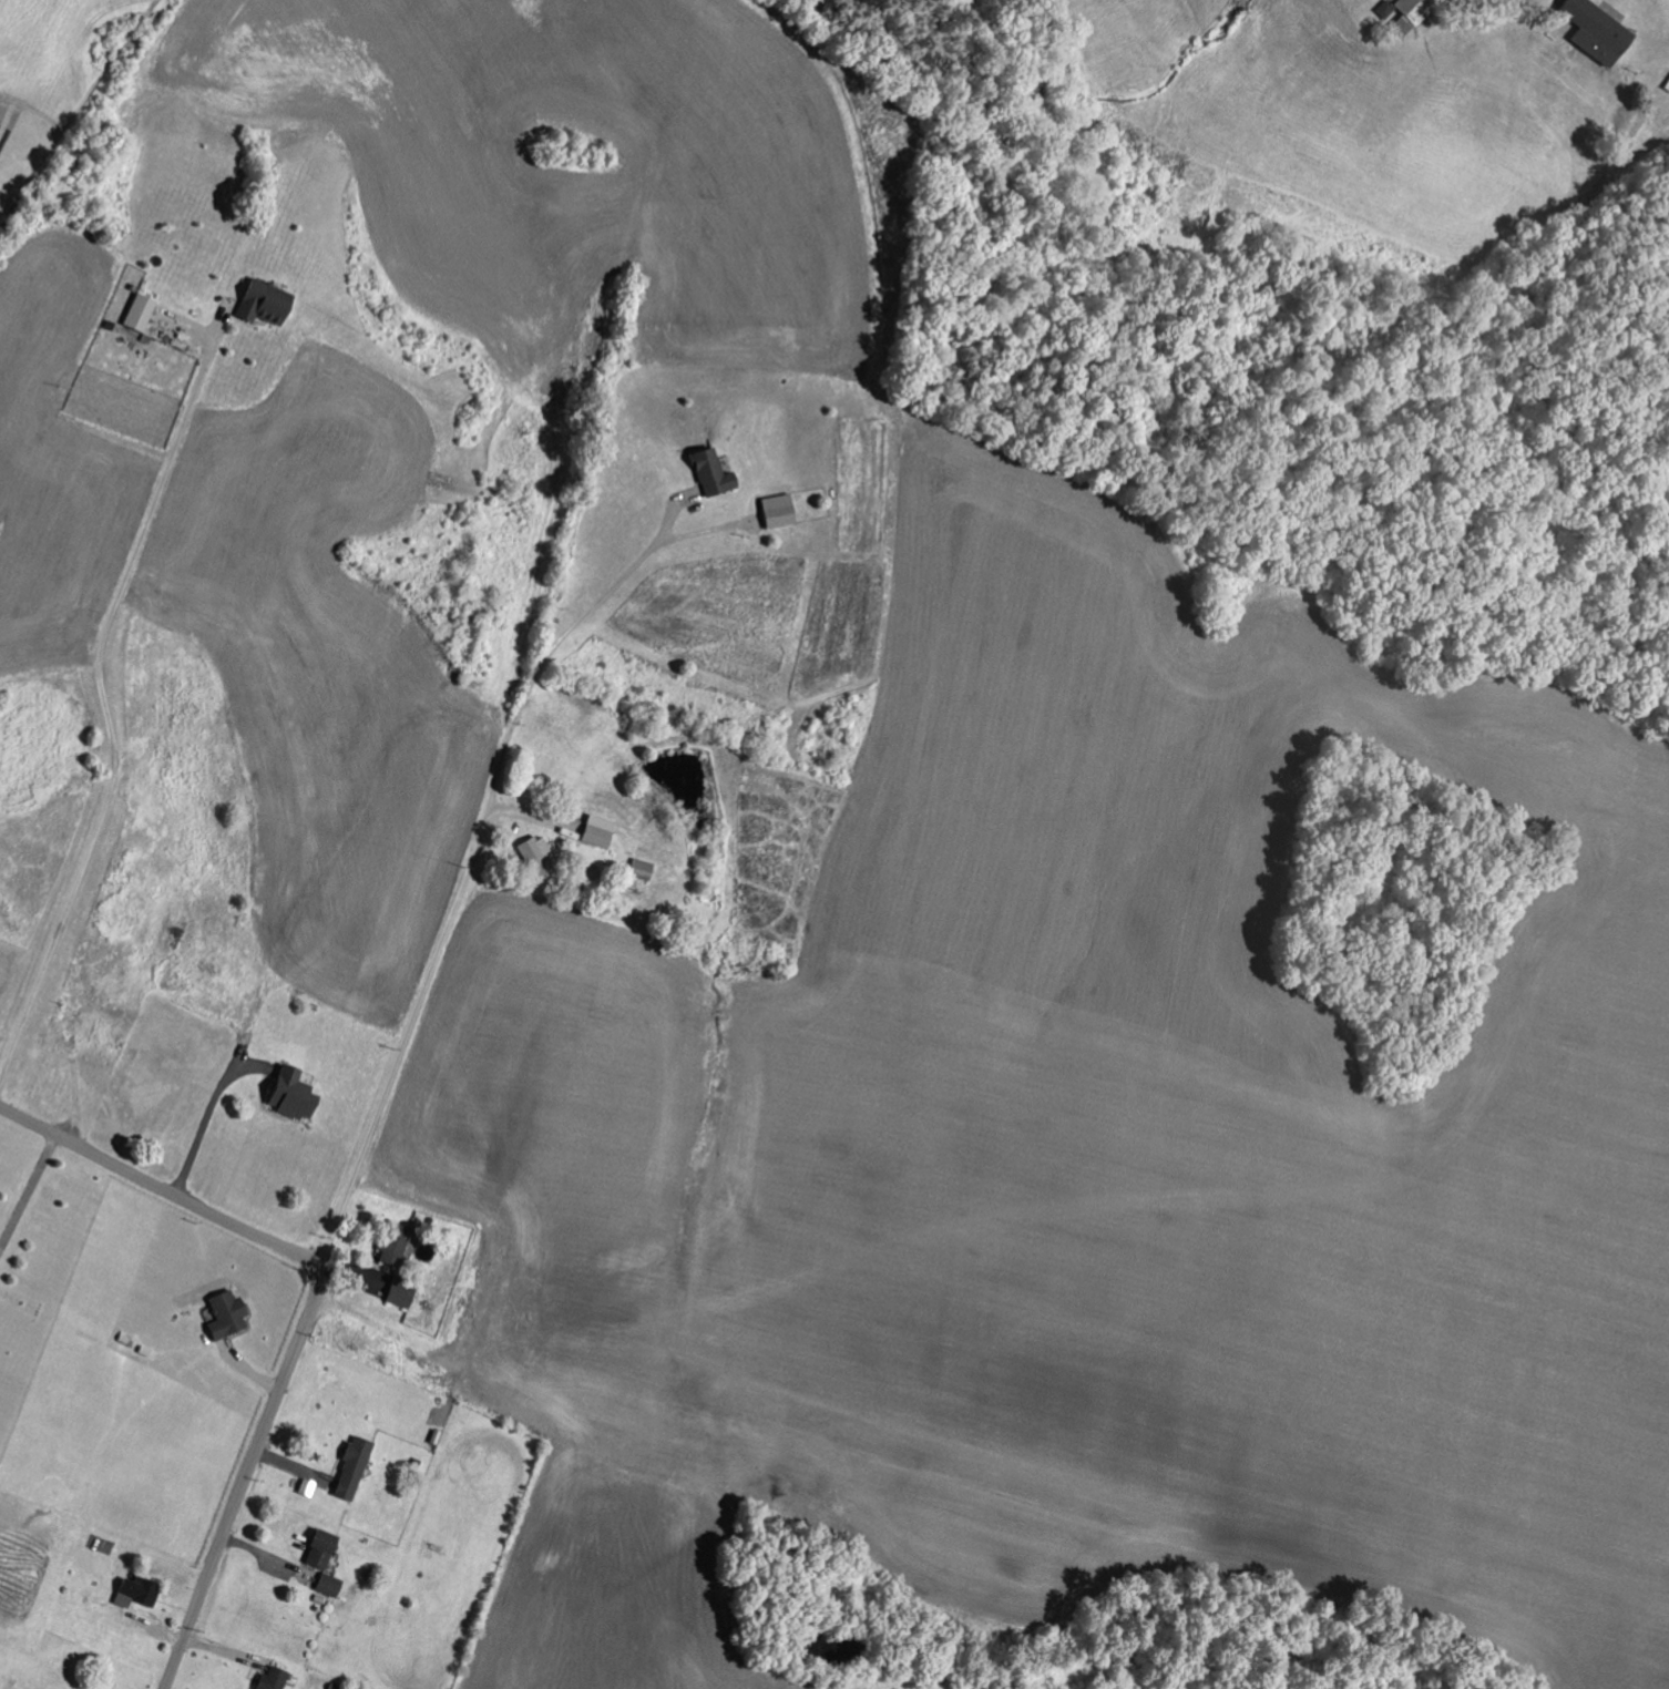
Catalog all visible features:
building: (1399, 12)
building: (1591, 30)
building: (270, 303)
building: (142, 311)
building: (708, 471)
building: (774, 510)
road: (561, 639)
road: (105, 704)
building: (595, 830)
building: (534, 851)
building: (638, 869)
road: (403, 1041)
building: (286, 1093)
road: (28, 1192)
building: (391, 1239)
building: (397, 1290)
road: (310, 1313)
building: (223, 1314)
building: (349, 1466)
building: (316, 1547)
building: (327, 1585)
building: (134, 1591)
building: (269, 1679)

